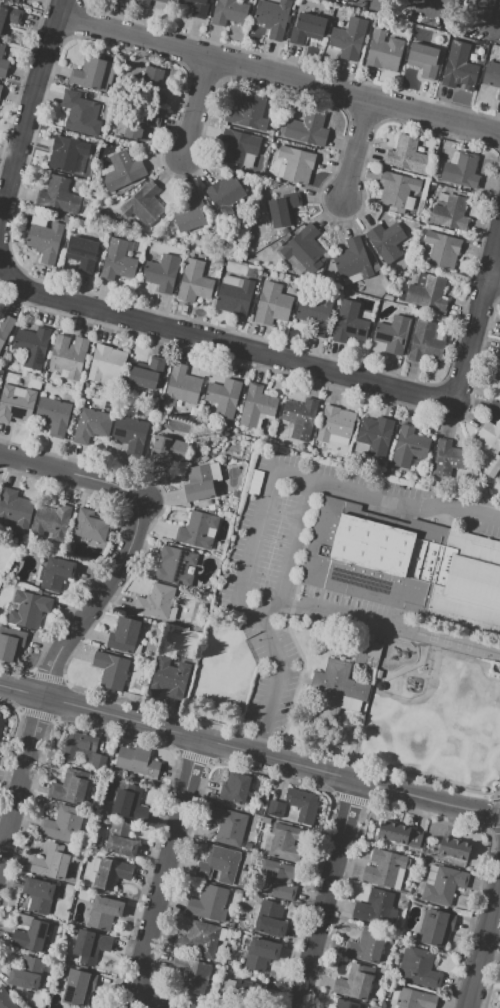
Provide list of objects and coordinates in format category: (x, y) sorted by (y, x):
building: (126, 0)
building: (142, 2)
building: (448, 3)
building: (160, 4)
building: (196, 7)
building: (480, 10)
building: (229, 12)
building: (9, 17)
building: (273, 18)
building: (499, 23)
building: (307, 28)
building: (349, 38)
building: (384, 51)
building: (424, 59)
building: (2, 63)
building: (458, 69)
building: (92, 74)
road: (280, 75)
building: (494, 78)
building: (153, 85)
building: (0, 87)
road: (193, 102)
road: (32, 111)
building: (247, 112)
building: (80, 113)
building: (141, 123)
building: (306, 128)
road: (352, 143)
building: (239, 146)
building: (68, 154)
building: (406, 154)
building: (296, 164)
building: (461, 170)
building: (123, 171)
building: (397, 191)
building: (225, 195)
building: (60, 197)
building: (442, 197)
building: (441, 203)
building: (143, 204)
building: (284, 210)
building: (450, 213)
building: (191, 214)
building: (45, 241)
building: (385, 242)
building: (442, 250)
building: (304, 251)
building: (82, 252)
road: (3, 260)
building: (118, 260)
building: (353, 261)
building: (162, 273)
road: (496, 274)
building: (194, 282)
building: (401, 294)
building: (428, 294)
building: (234, 295)
building: (388, 298)
building: (272, 304)
building: (315, 311)
building: (413, 311)
building: (419, 313)
building: (349, 323)
road: (478, 323)
building: (5, 328)
building: (393, 334)
road: (227, 344)
building: (426, 344)
building: (31, 346)
building: (499, 355)
building: (66, 356)
building: (106, 363)
building: (146, 373)
building: (180, 386)
building: (224, 398)
building: (16, 403)
building: (88, 404)
building: (256, 406)
building: (494, 409)
building: (54, 415)
building: (301, 417)
building: (334, 424)
building: (91, 426)
building: (129, 434)
building: (375, 435)
building: (395, 436)
building: (408, 447)
building: (360, 448)
building: (488, 450)
building: (167, 451)
building: (204, 458)
building: (448, 459)
building: (215, 472)
building: (198, 484)
building: (235, 494)
road: (402, 505)
building: (212, 507)
building: (14, 510)
park: (280, 514)
building: (51, 521)
building: (90, 526)
building: (198, 531)
road: (257, 533)
building: (372, 556)
park: (266, 564)
building: (175, 566)
building: (57, 574)
building: (467, 584)
building: (223, 596)
building: (156, 601)
road: (90, 606)
building: (30, 609)
building: (172, 614)
road: (261, 615)
road: (388, 625)
building: (125, 637)
building: (11, 644)
building: (367, 649)
building: (112, 670)
building: (170, 676)
building: (135, 686)
building: (337, 689)
building: (2, 719)
building: (80, 746)
road: (249, 752)
building: (99, 761)
building: (136, 762)
building: (92, 779)
building: (70, 787)
building: (235, 788)
building: (126, 801)
building: (302, 805)
building: (260, 808)
building: (275, 808)
building: (63, 824)
building: (227, 825)
building: (399, 834)
building: (121, 839)
building: (285, 842)
building: (454, 848)
building: (52, 861)
building: (96, 864)
building: (218, 865)
building: (386, 869)
building: (112, 873)
building: (279, 880)
road: (164, 882)
building: (443, 884)
road: (328, 894)
building: (39, 896)
building: (210, 903)
building: (376, 908)
building: (104, 913)
building: (269, 918)
building: (436, 927)
building: (32, 935)
building: (222, 935)
building: (201, 940)
road: (482, 942)
building: (367, 945)
building: (90, 946)
building: (261, 953)
building: (418, 967)
building: (26, 973)
building: (191, 975)
building: (353, 983)
building: (227, 985)
building: (78, 987)
building: (246, 990)
building: (410, 998)
building: (6, 1000)
building: (346, 1004)
building: (383, 1004)

